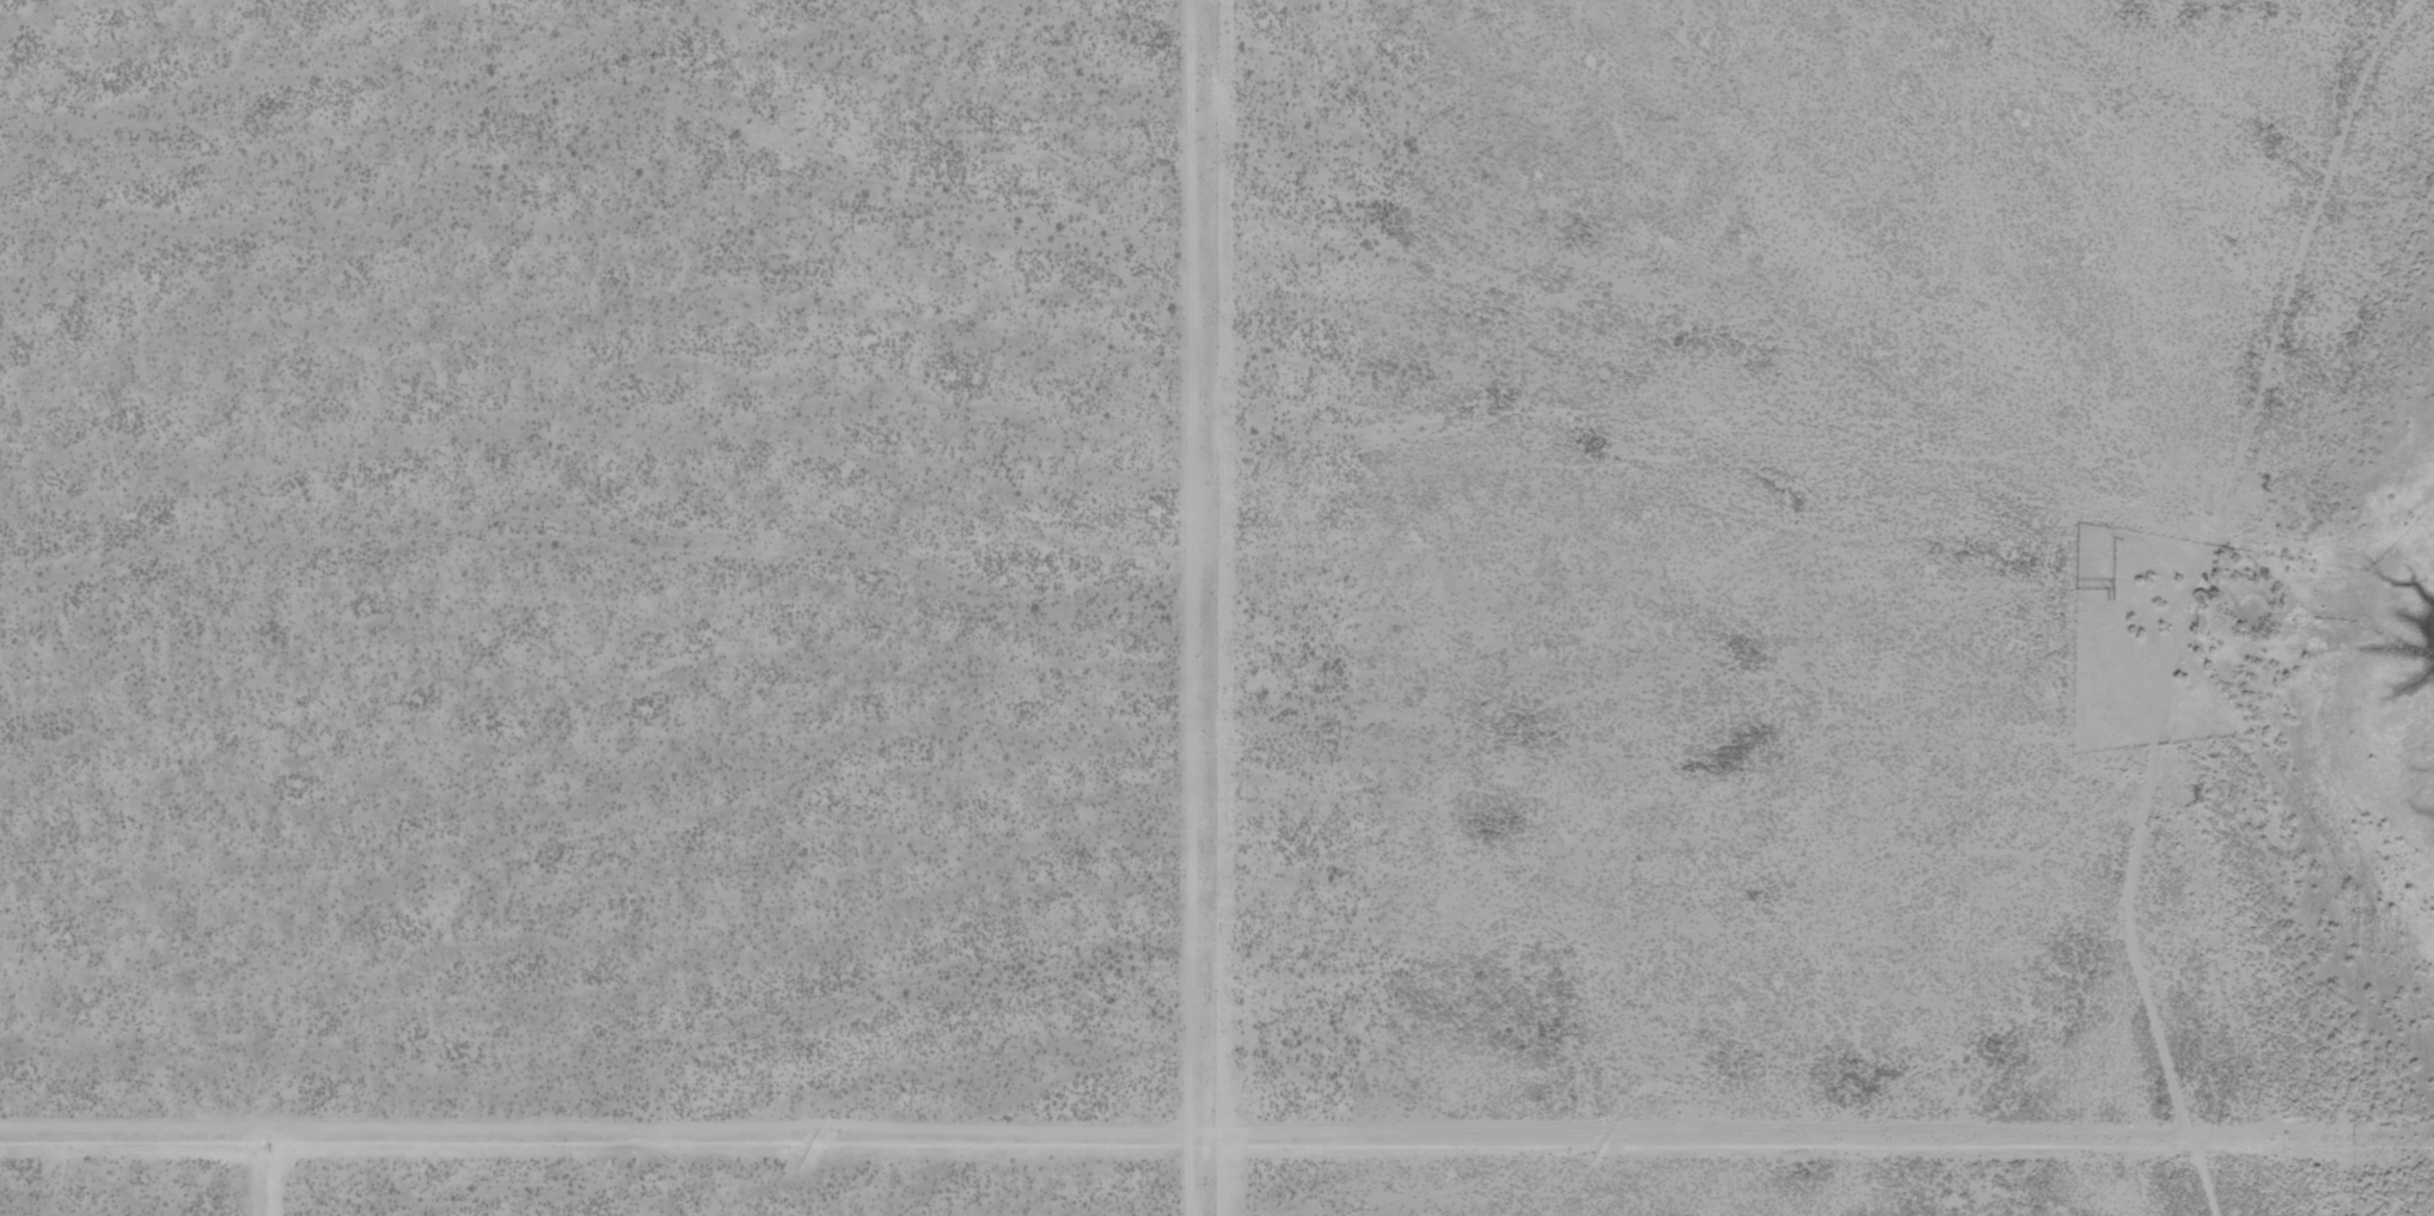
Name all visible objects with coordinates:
road: (2155, 585)

